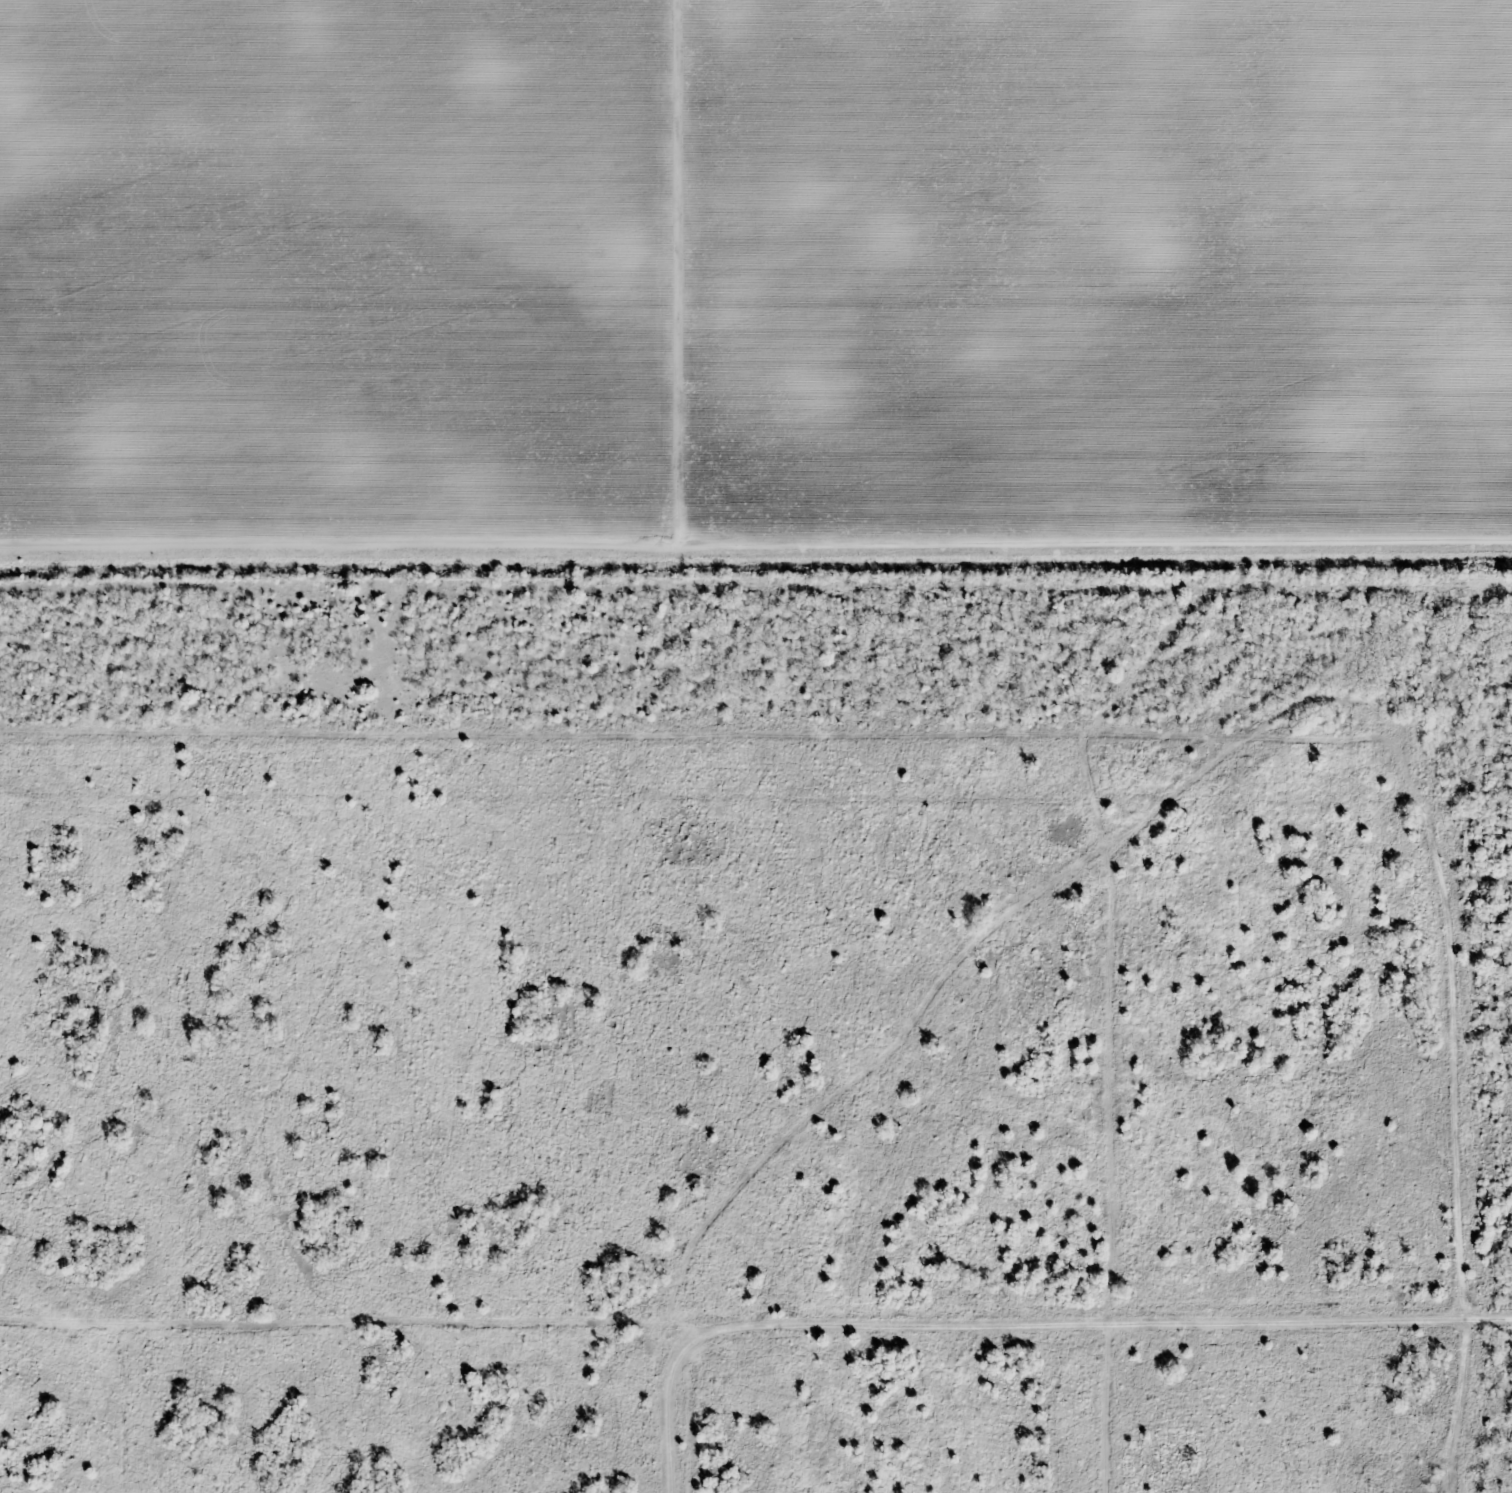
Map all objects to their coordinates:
road: (1442, 568)
road: (1009, 1345)

